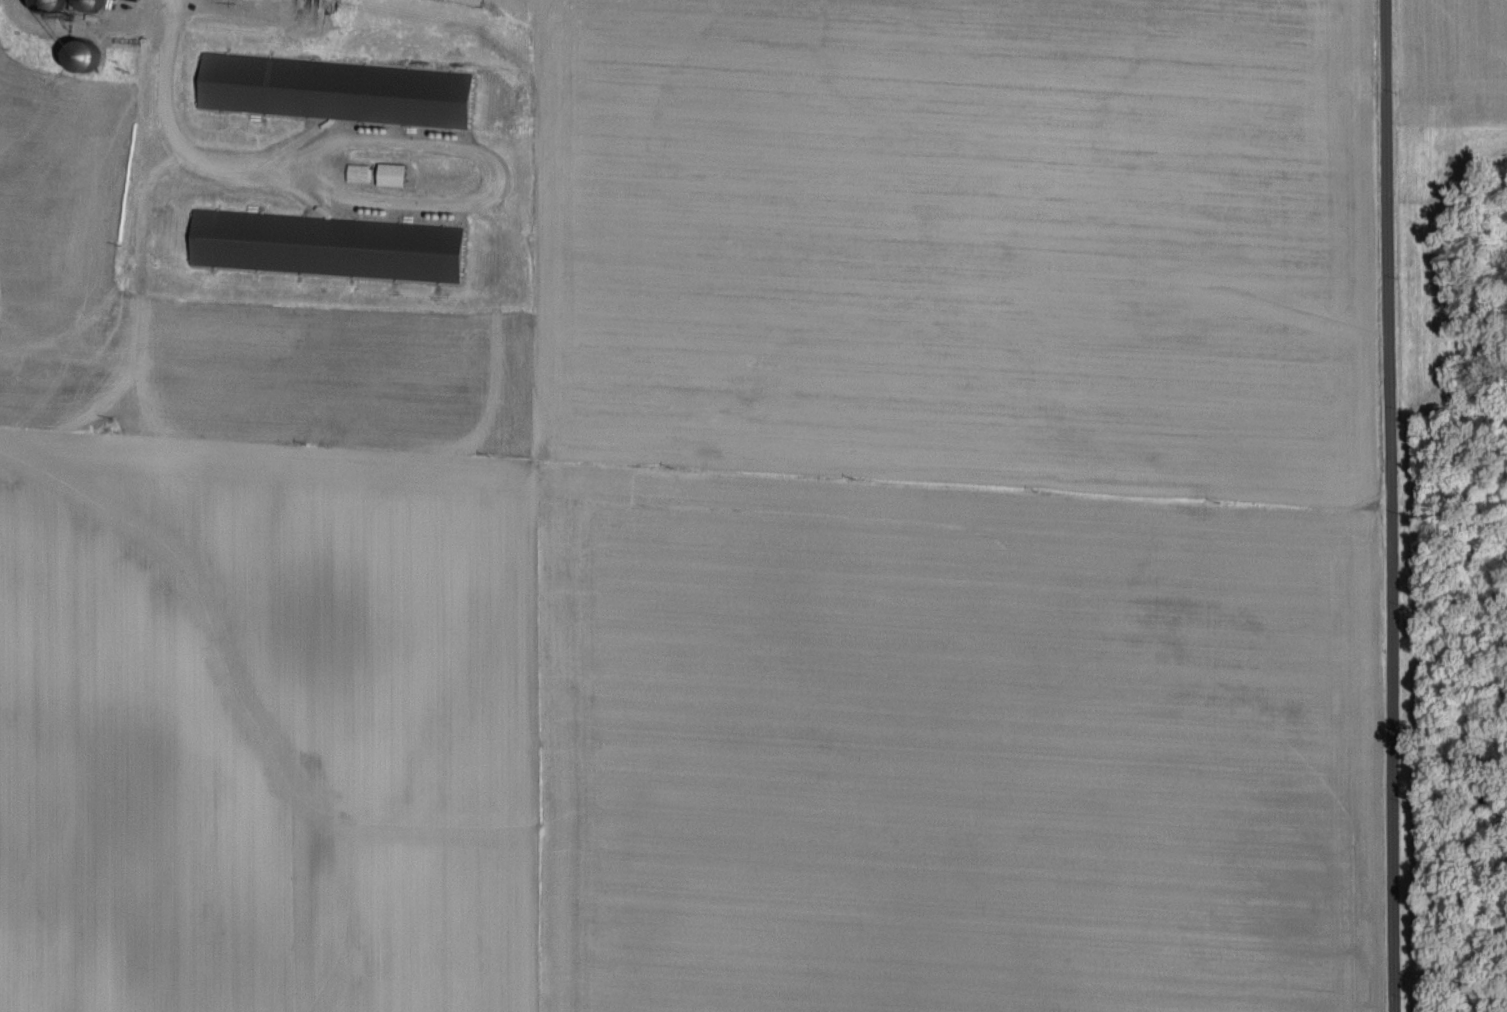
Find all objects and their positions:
building: (339, 89)
building: (362, 171)
building: (396, 172)
building: (331, 244)
road: (1387, 506)

